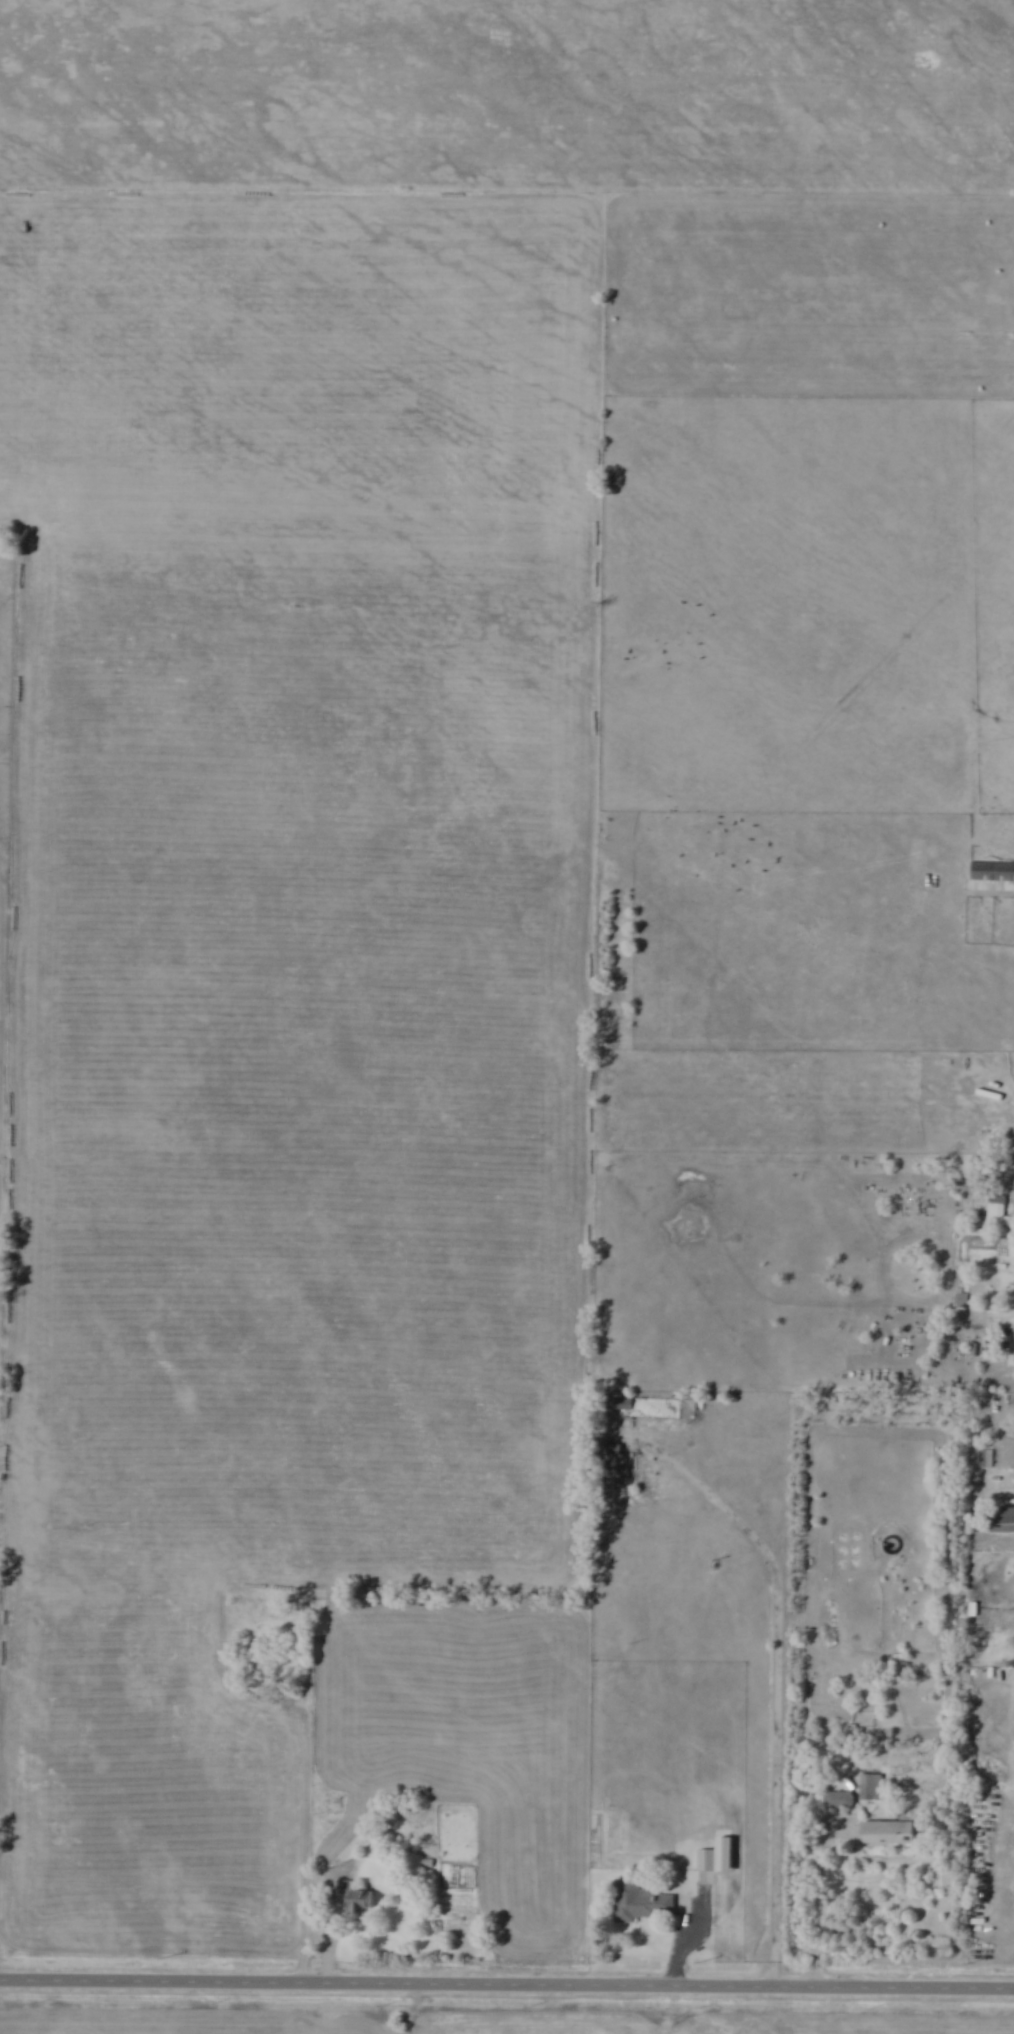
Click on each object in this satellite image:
building: (1010, 337)
building: (993, 869)
building: (998, 1212)
building: (623, 1406)
building: (987, 1460)
building: (1003, 1521)
road: (778, 1777)
building: (872, 1789)
building: (837, 1801)
building: (891, 1834)
road: (305, 1835)
building: (707, 1862)
road: (827, 1890)
building: (358, 1899)
building: (641, 1905)
road: (507, 1982)

